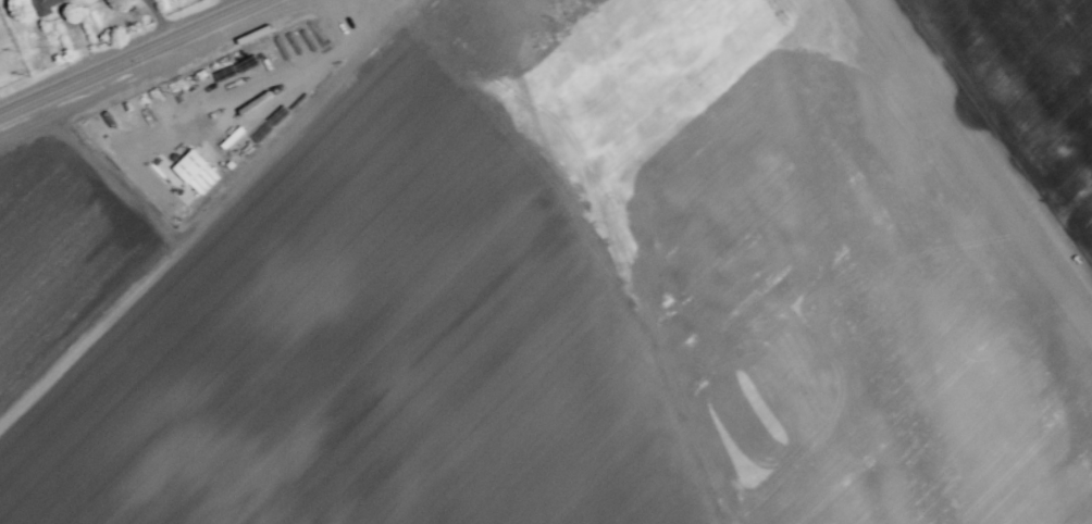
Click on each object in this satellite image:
road: (245, 5)
building: (42, 8)
road: (158, 22)
crop: (101, 42)
road: (137, 60)
crop: (311, 288)

